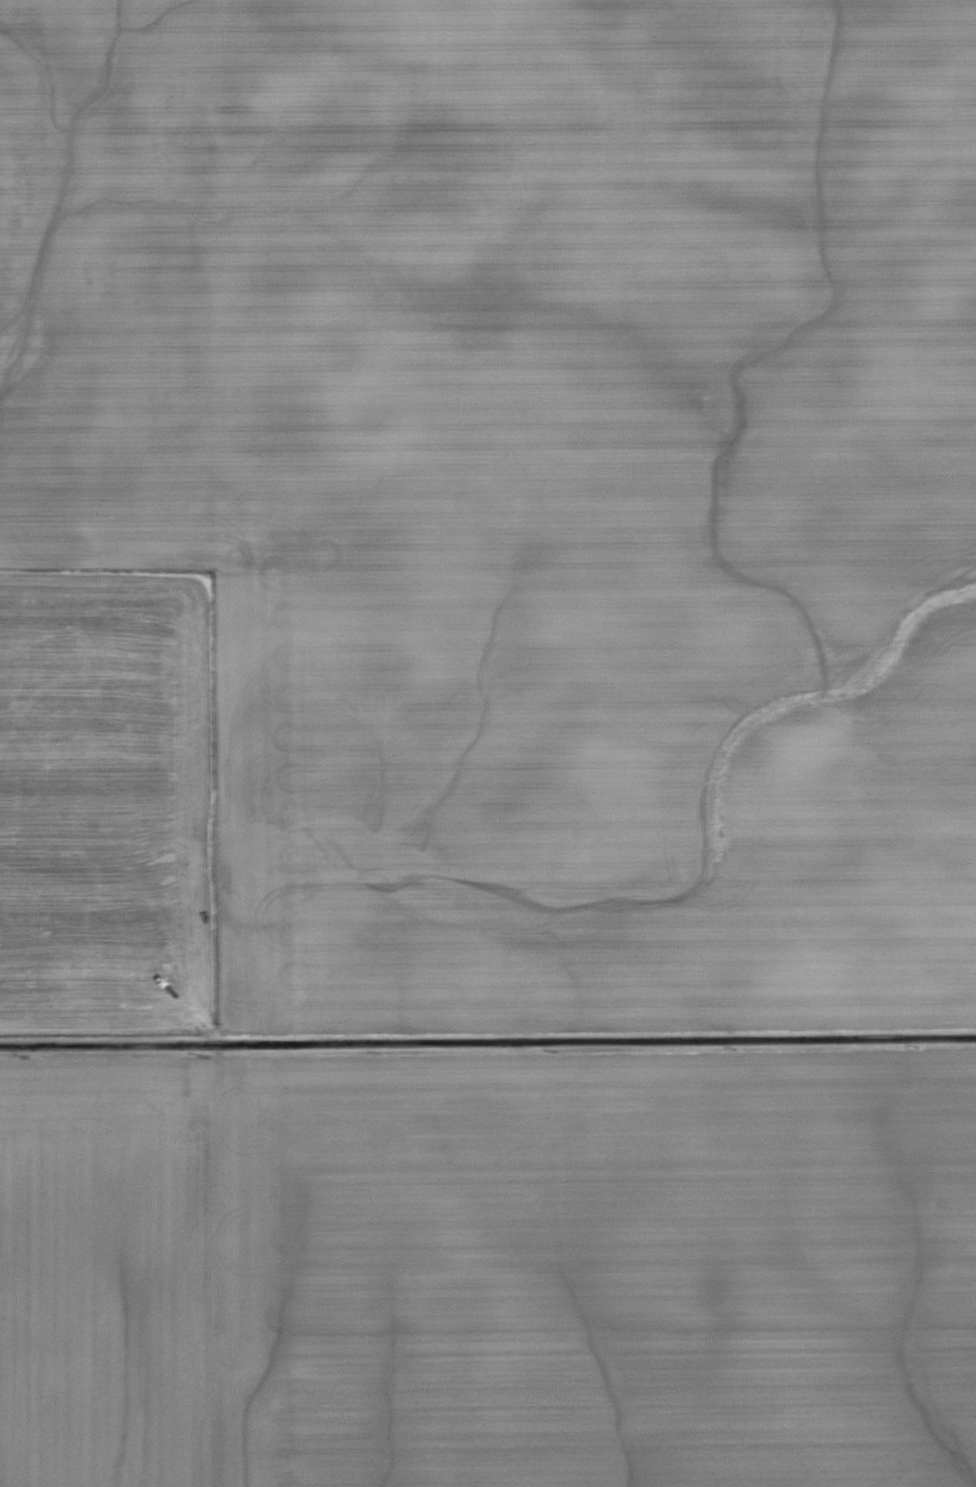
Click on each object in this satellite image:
road: (488, 1039)

